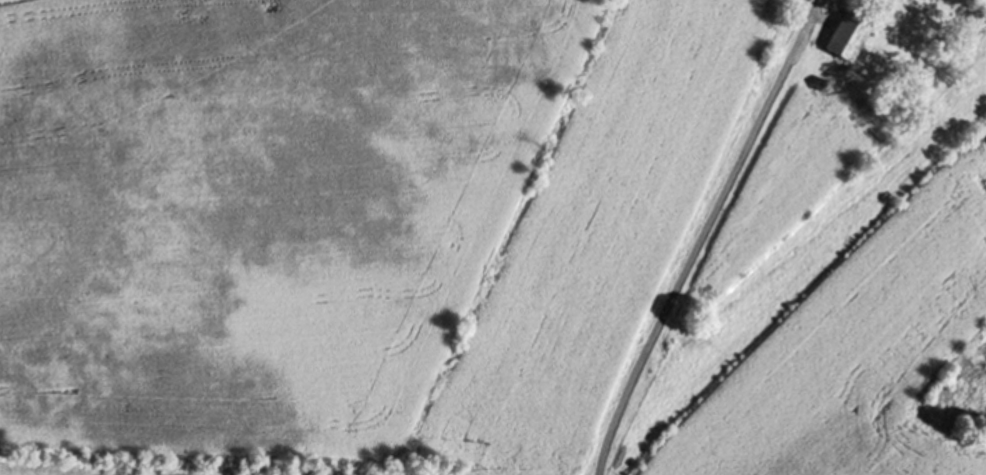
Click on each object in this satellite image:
road: (813, 10)
building: (846, 39)
crop: (342, 224)
road: (698, 246)
crop: (823, 307)

